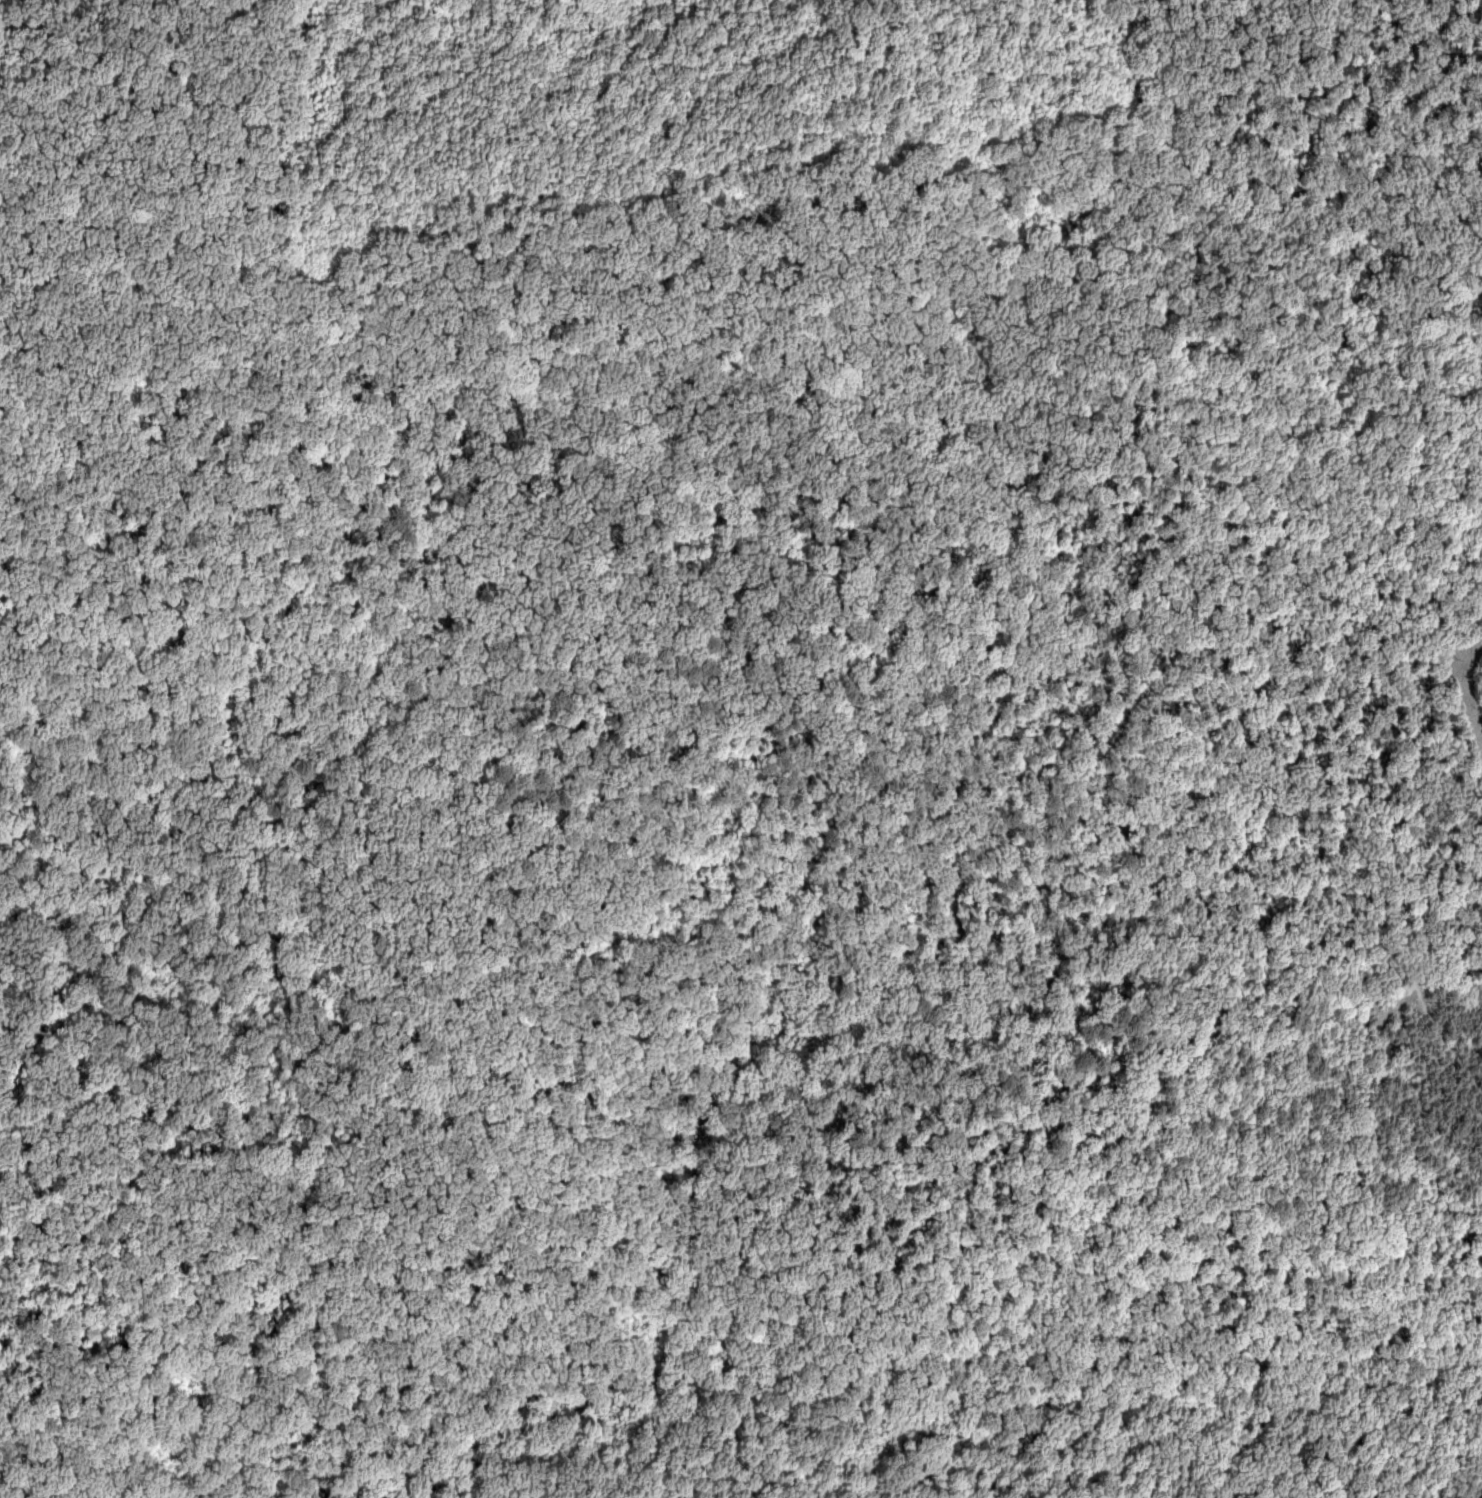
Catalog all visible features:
road: (1411, 931)

